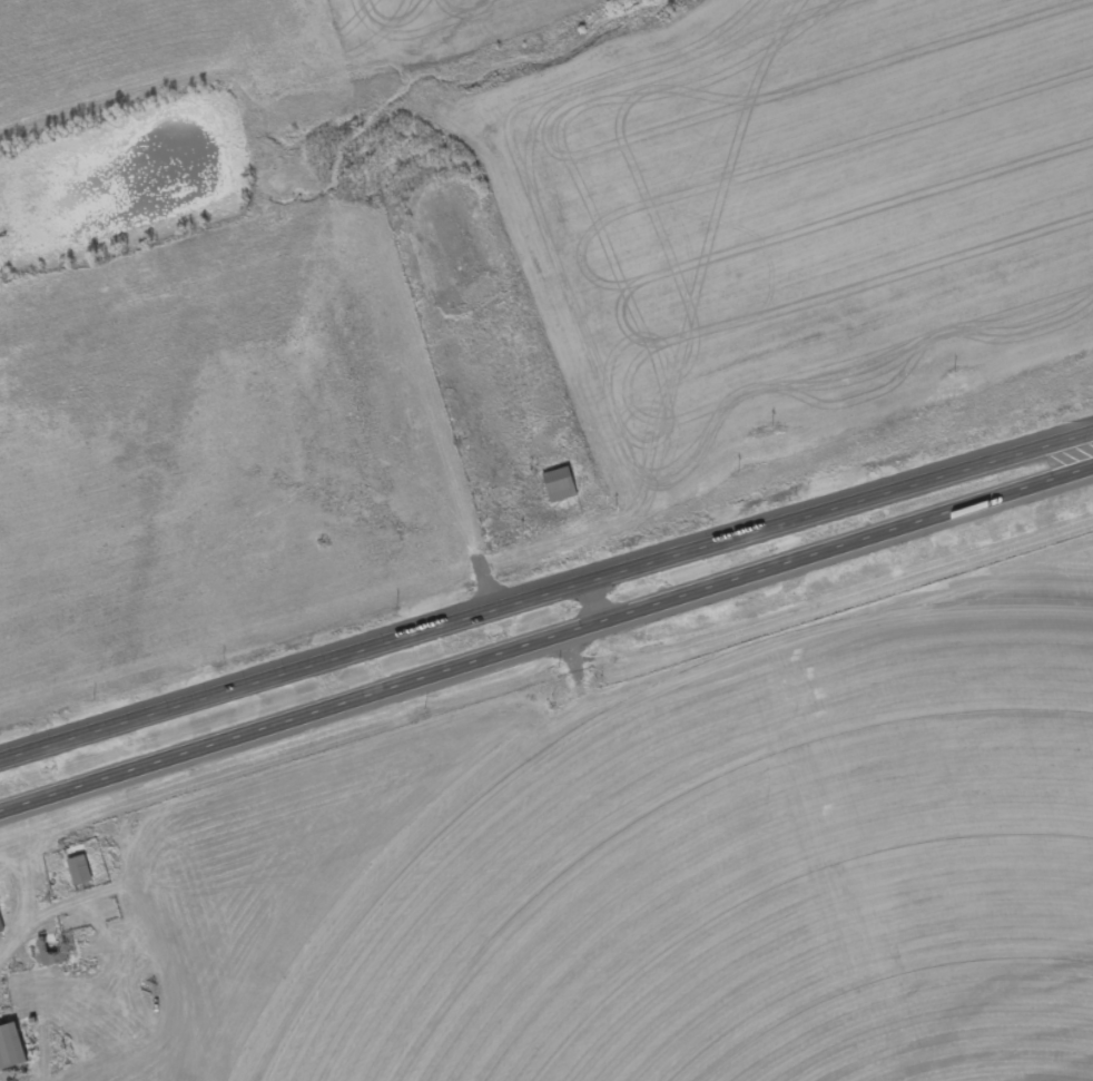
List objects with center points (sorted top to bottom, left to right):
building: (565, 487)
road: (546, 594)
road: (546, 648)
building: (83, 873)
building: (2, 923)
building: (61, 953)
building: (14, 1049)

